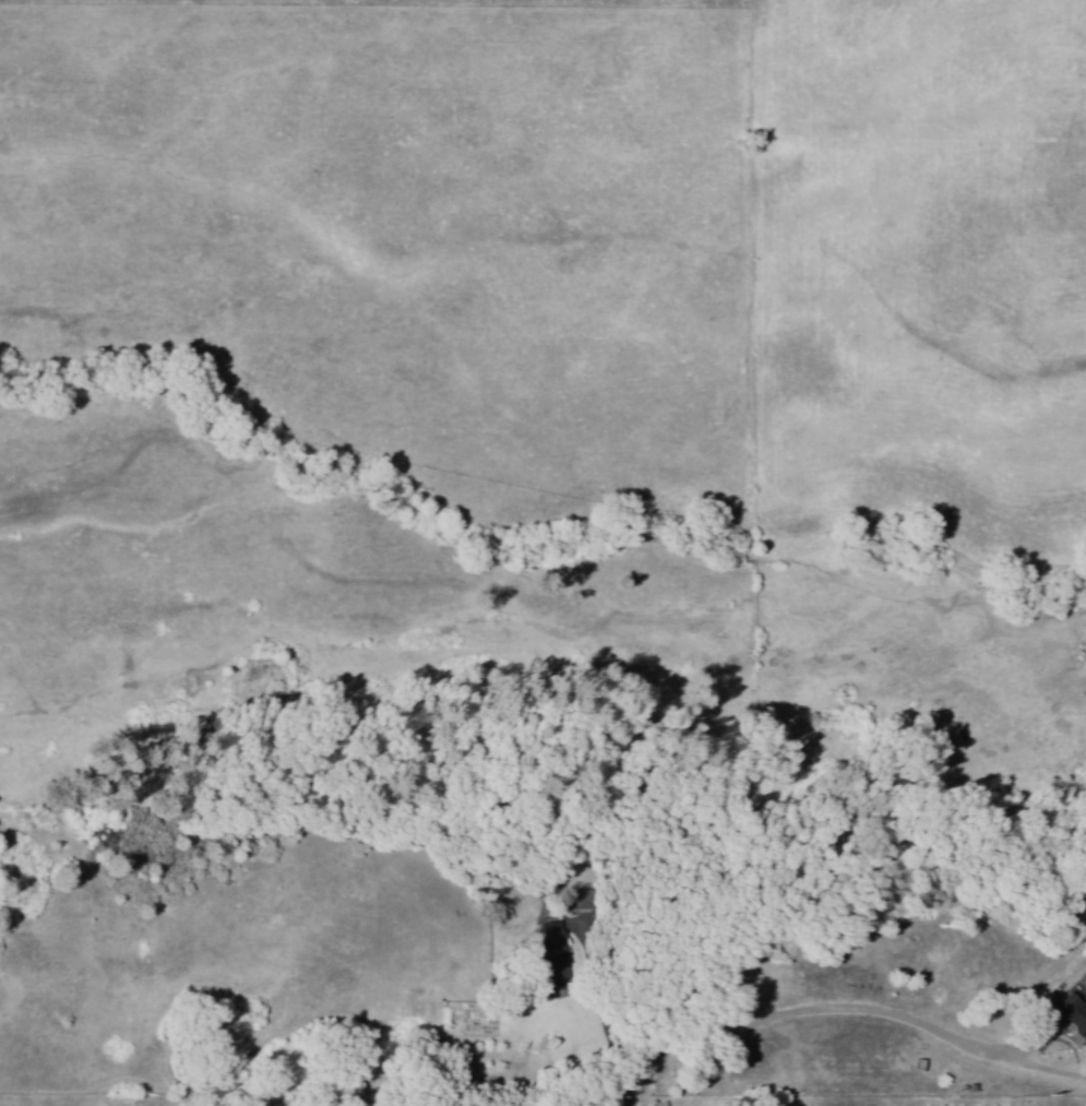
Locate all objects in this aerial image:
building: (1071, 1015)

